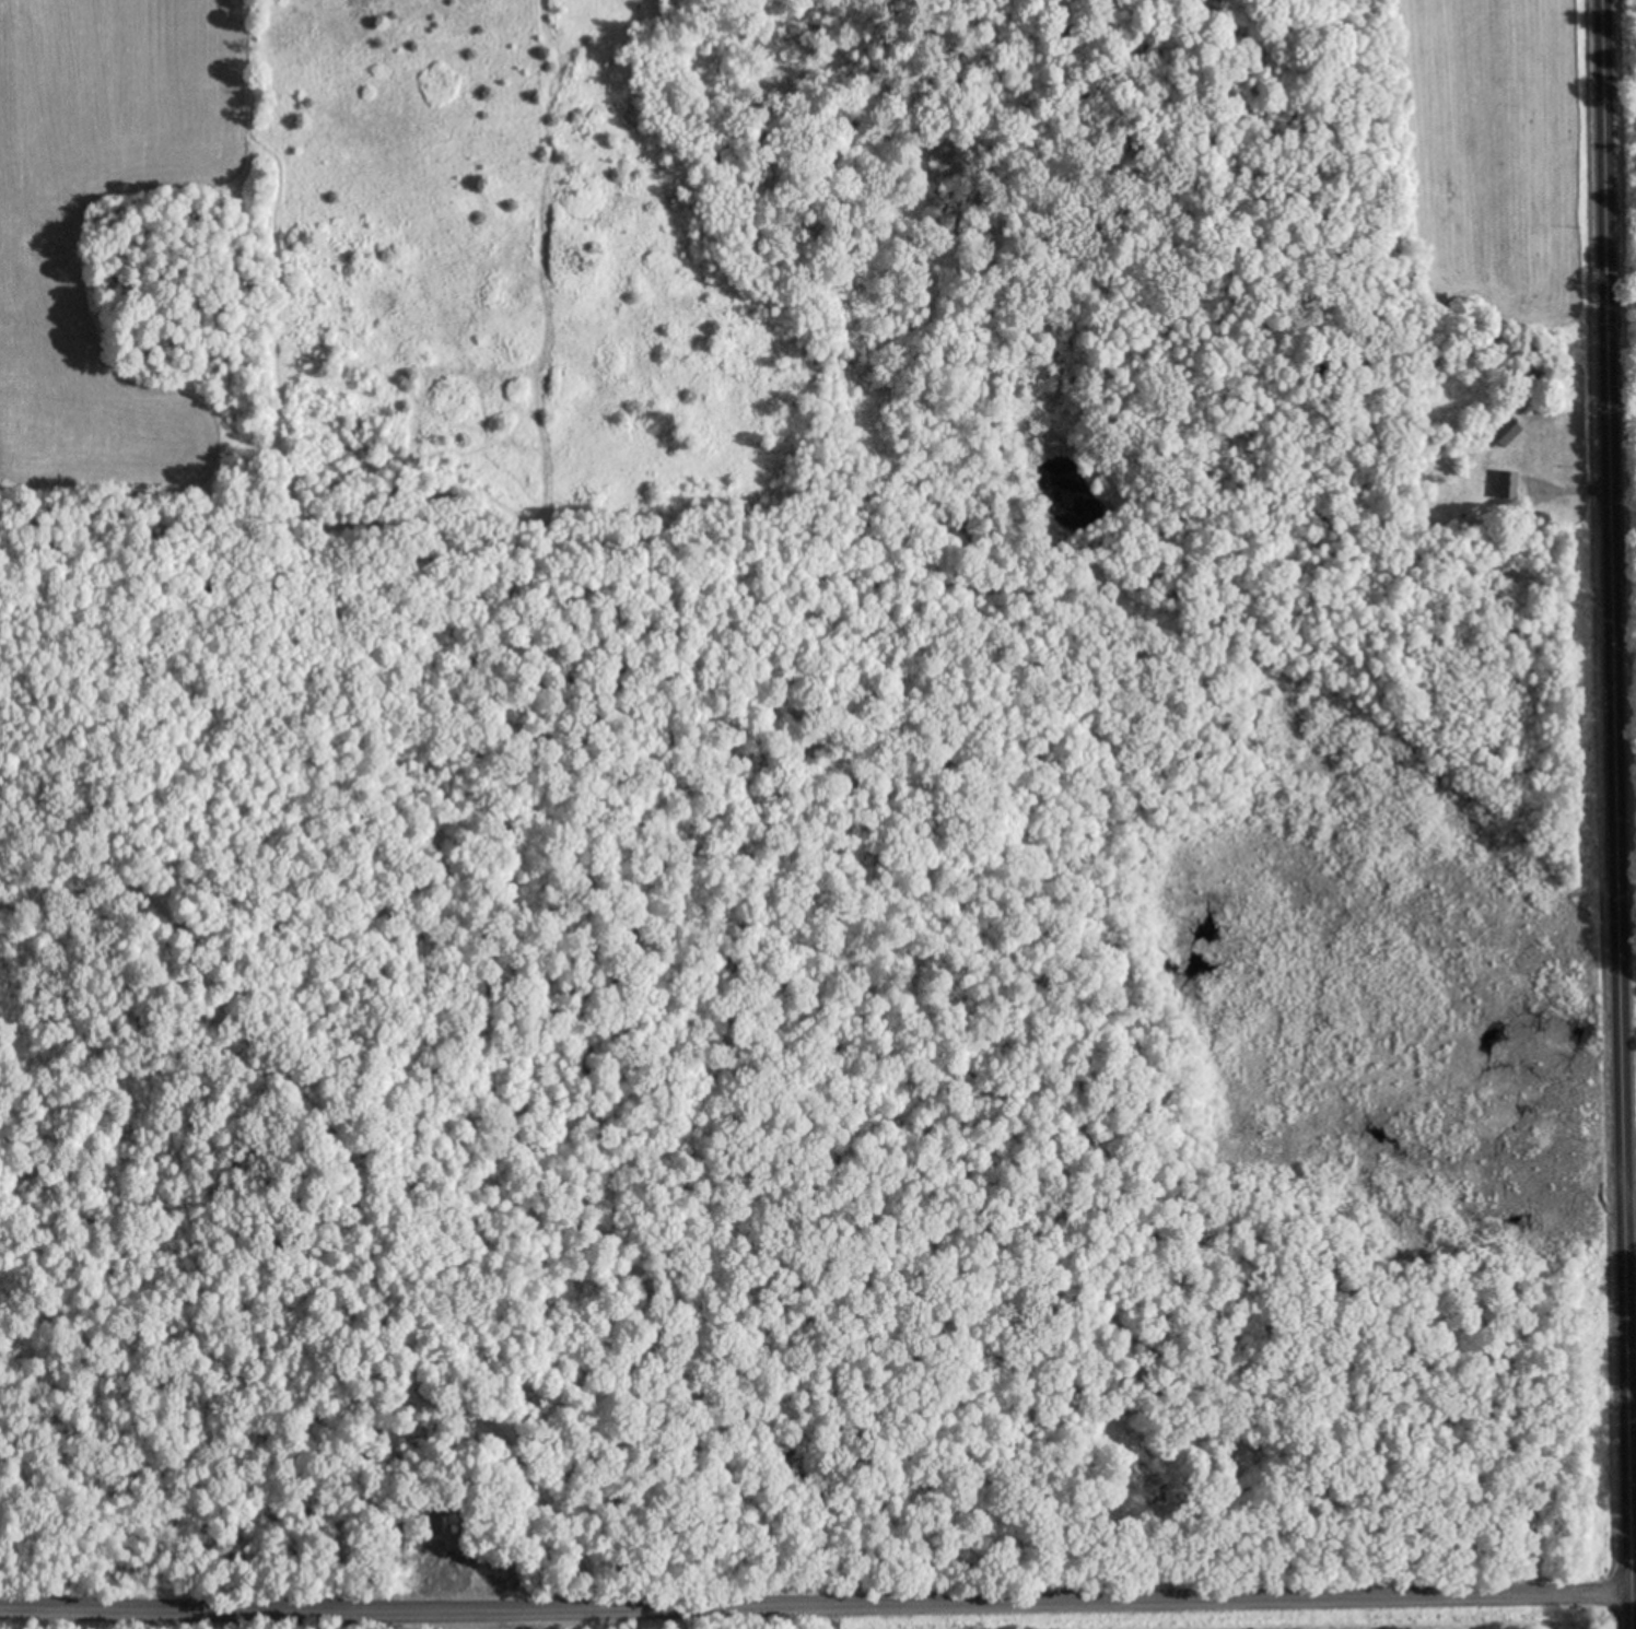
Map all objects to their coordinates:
building: (1505, 434)
building: (1507, 487)
road: (1617, 813)
building: (1149, 1481)
road: (818, 1593)

